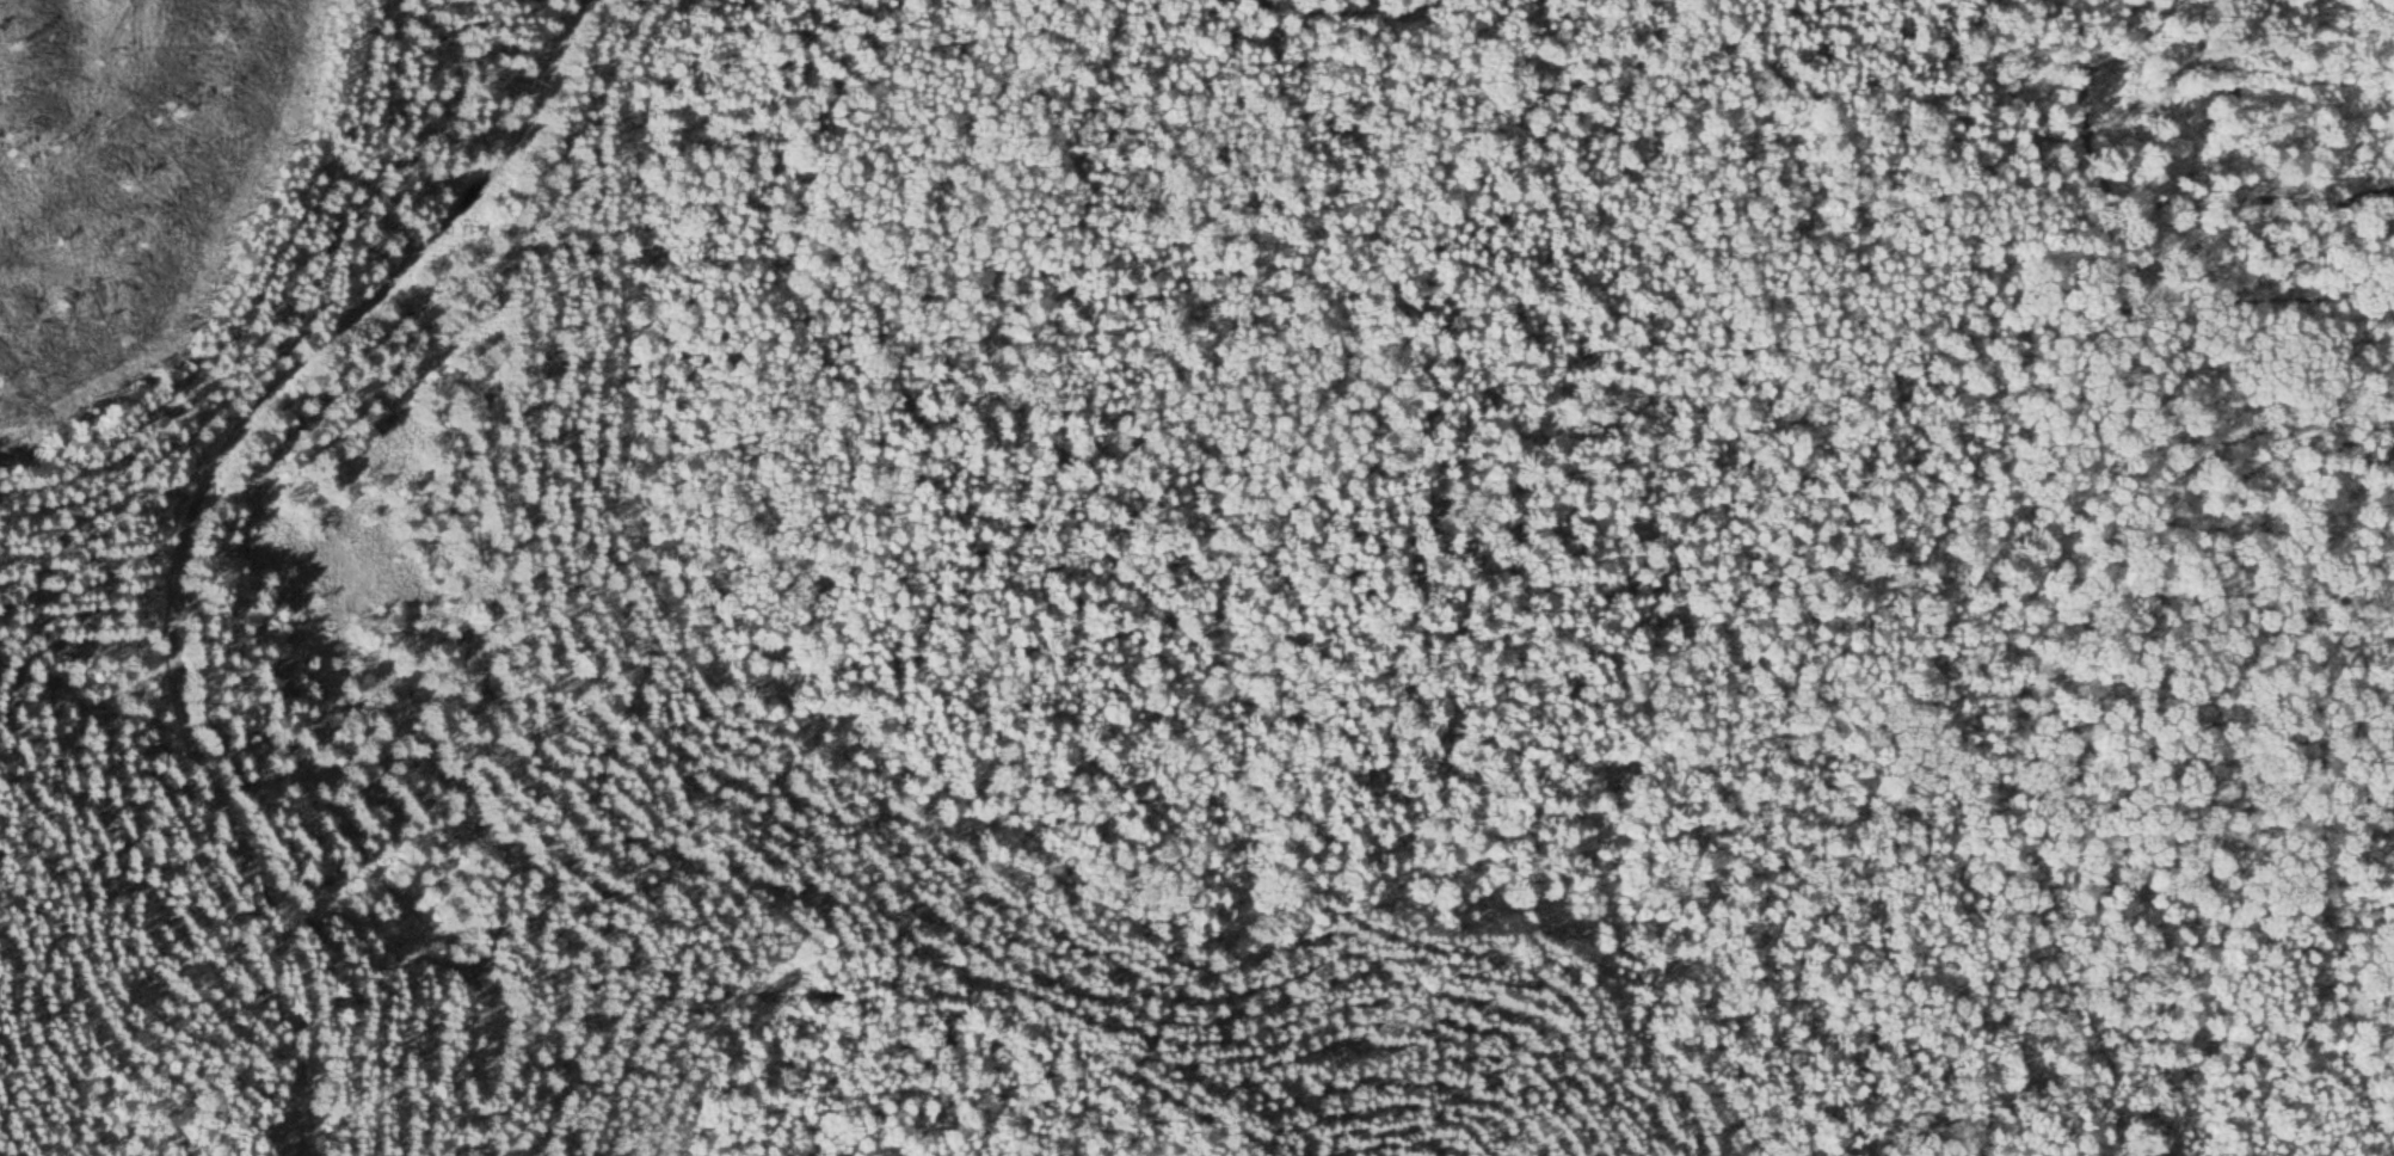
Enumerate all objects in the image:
road: (1352, 8)
road: (2090, 105)
road: (2061, 168)
road: (183, 516)
road: (291, 1148)

